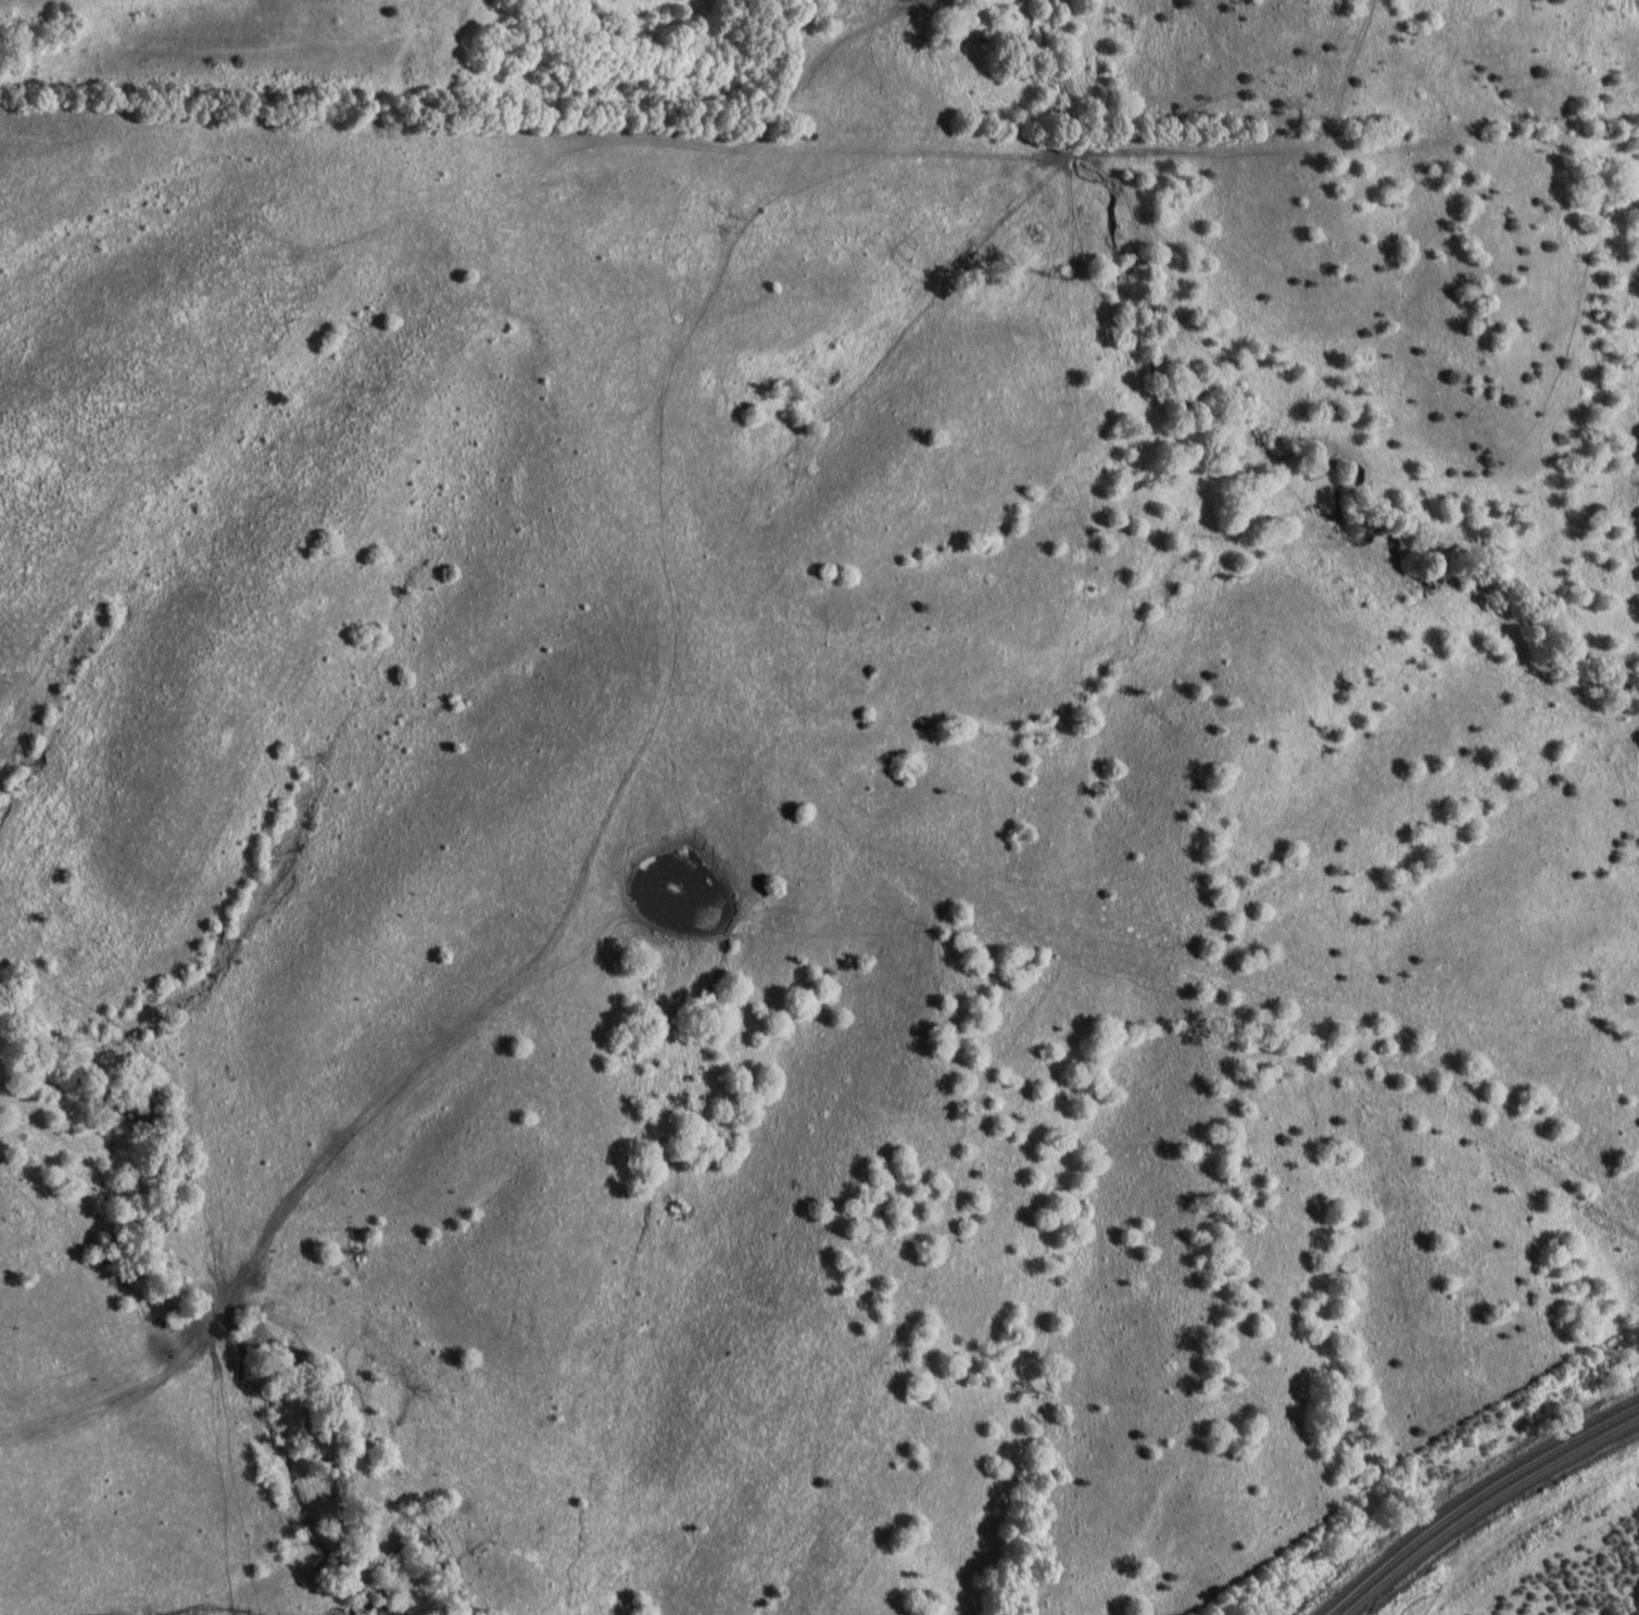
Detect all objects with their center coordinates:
railway: (1476, 1500)
railway: (1486, 1507)

